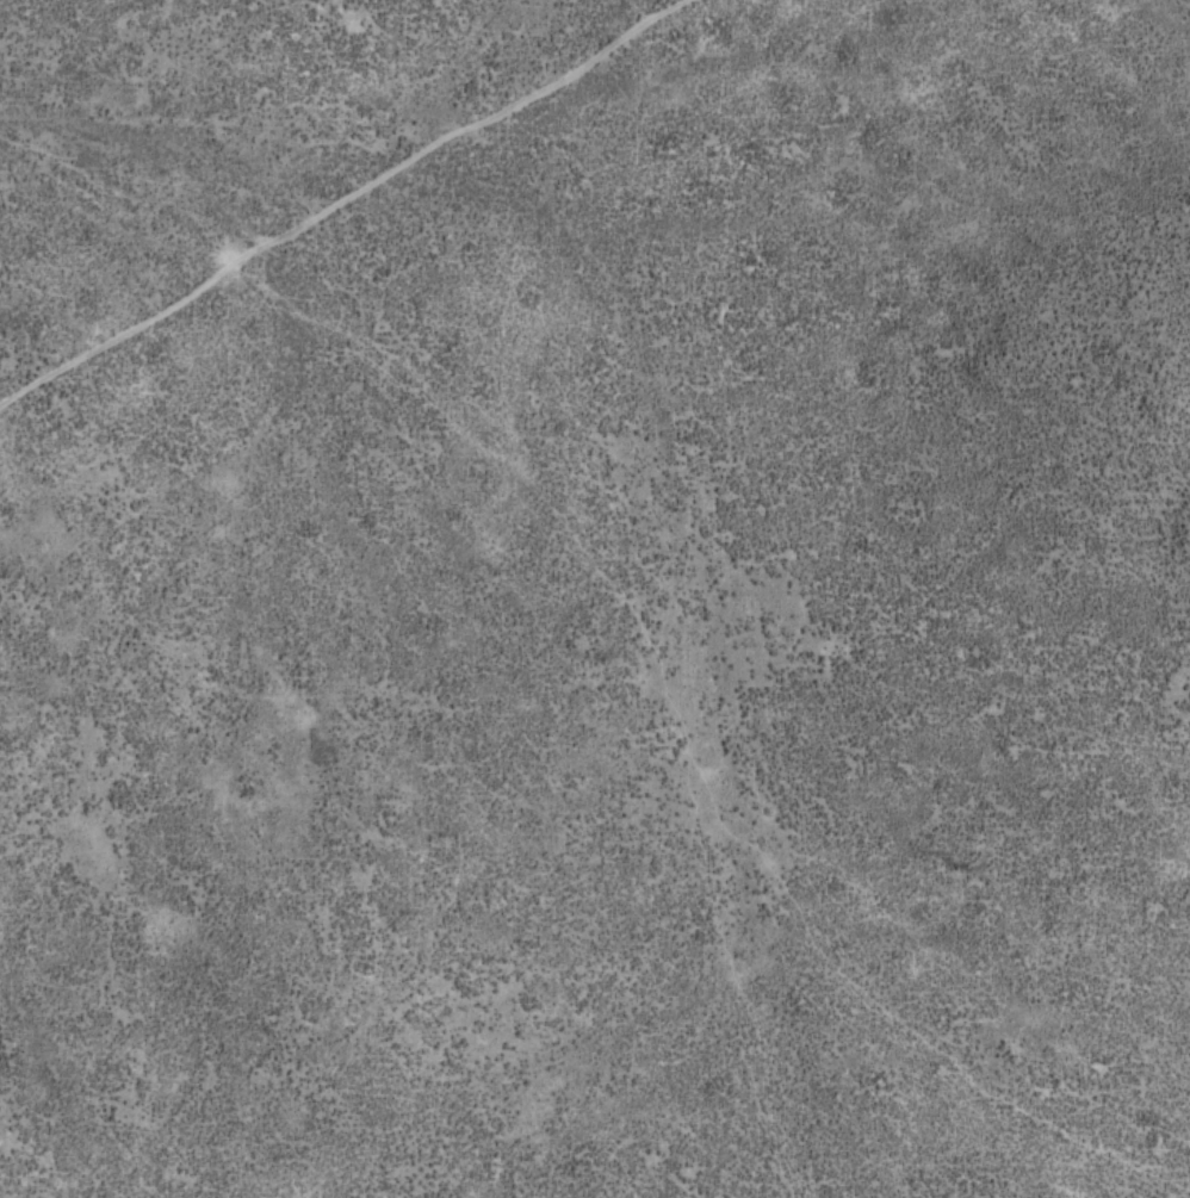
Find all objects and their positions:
road: (342, 201)

